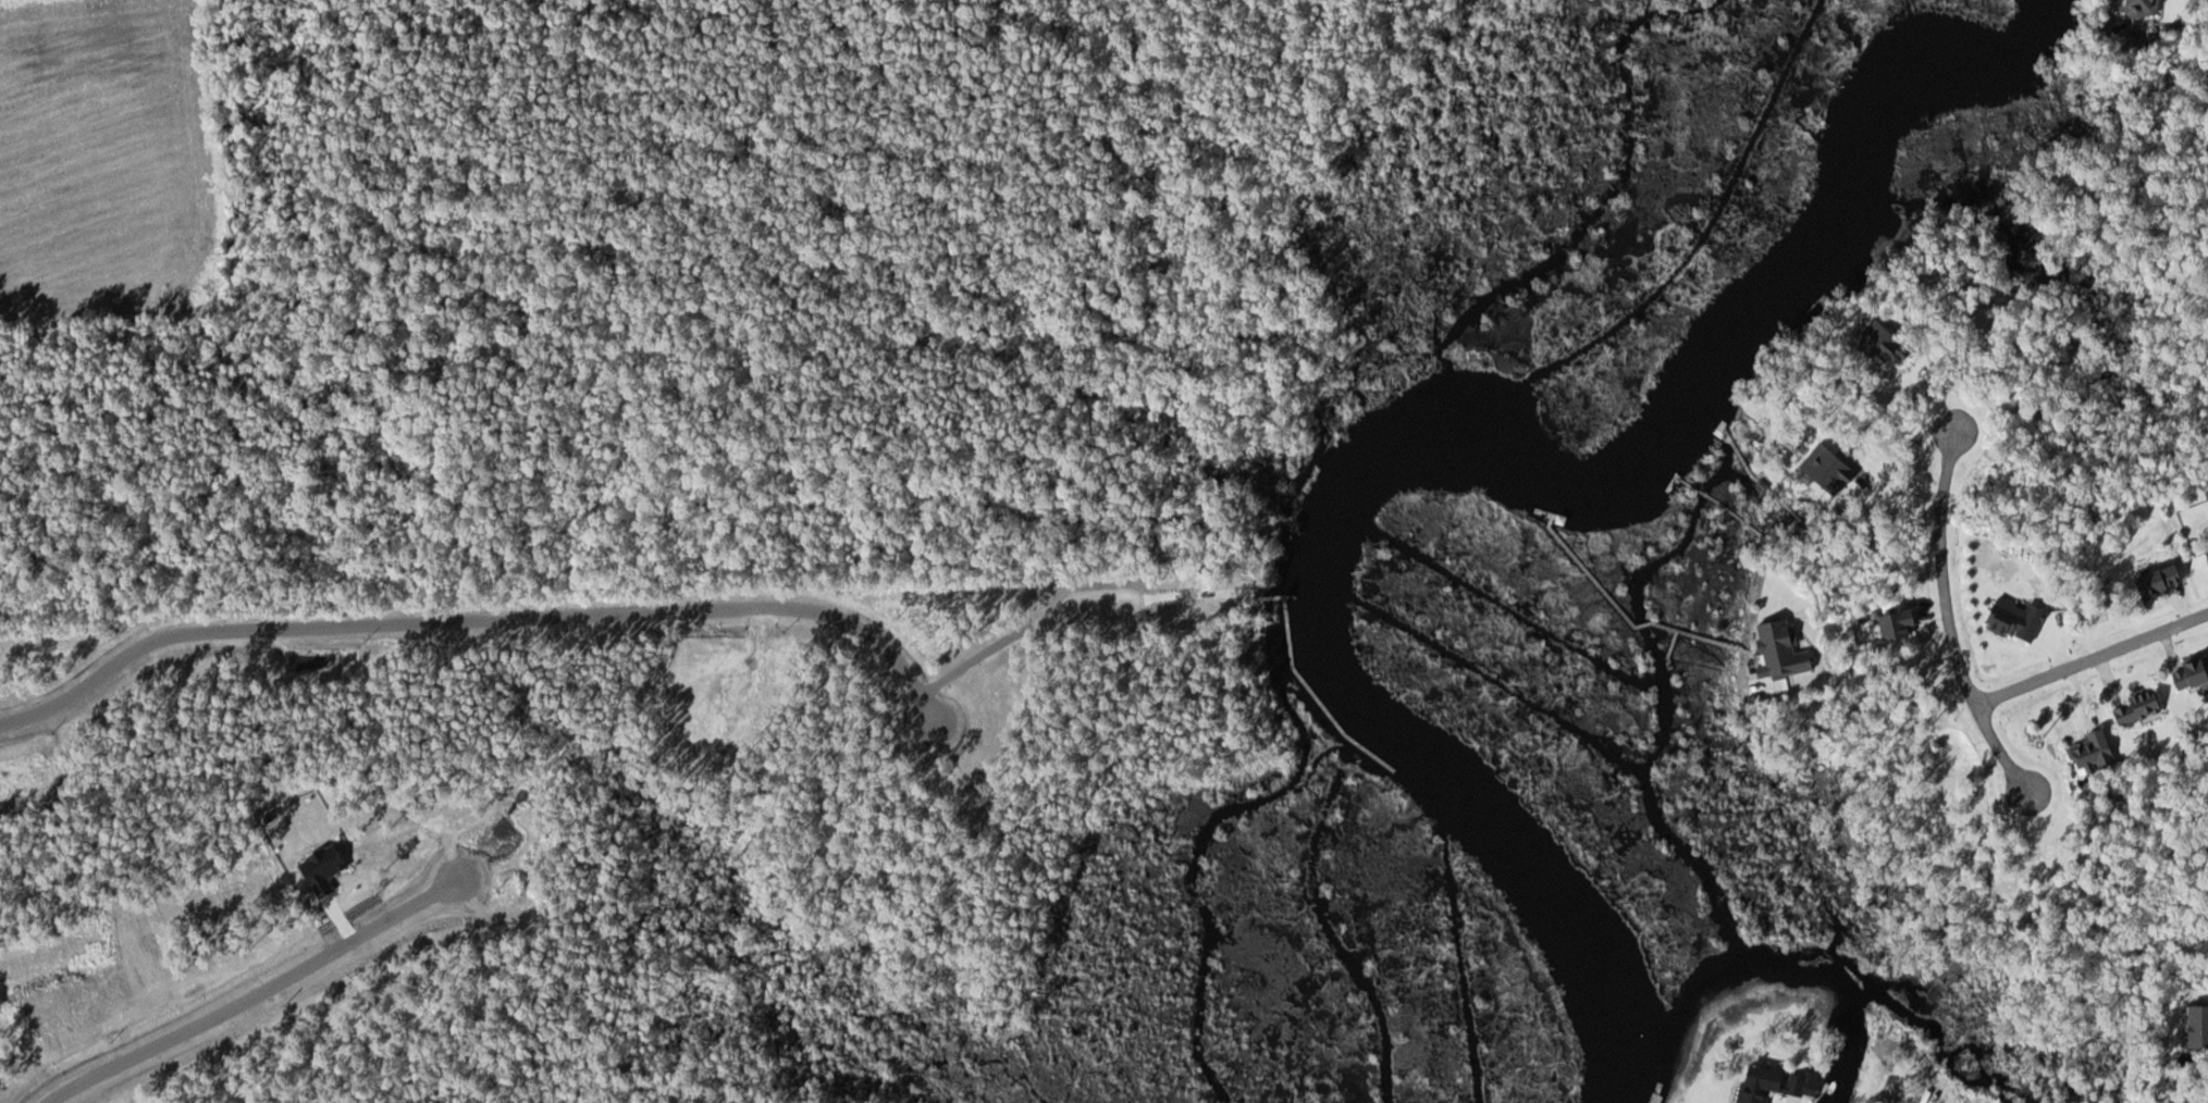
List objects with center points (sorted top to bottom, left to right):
building: (2134, 5)
building: (2204, 560)
building: (2153, 583)
building: (2011, 619)
road: (2093, 657)
building: (2187, 671)
building: (2132, 707)
building: (2194, 1025)
building: (1754, 1085)
building: (1804, 1087)
building: (1941, 1099)

